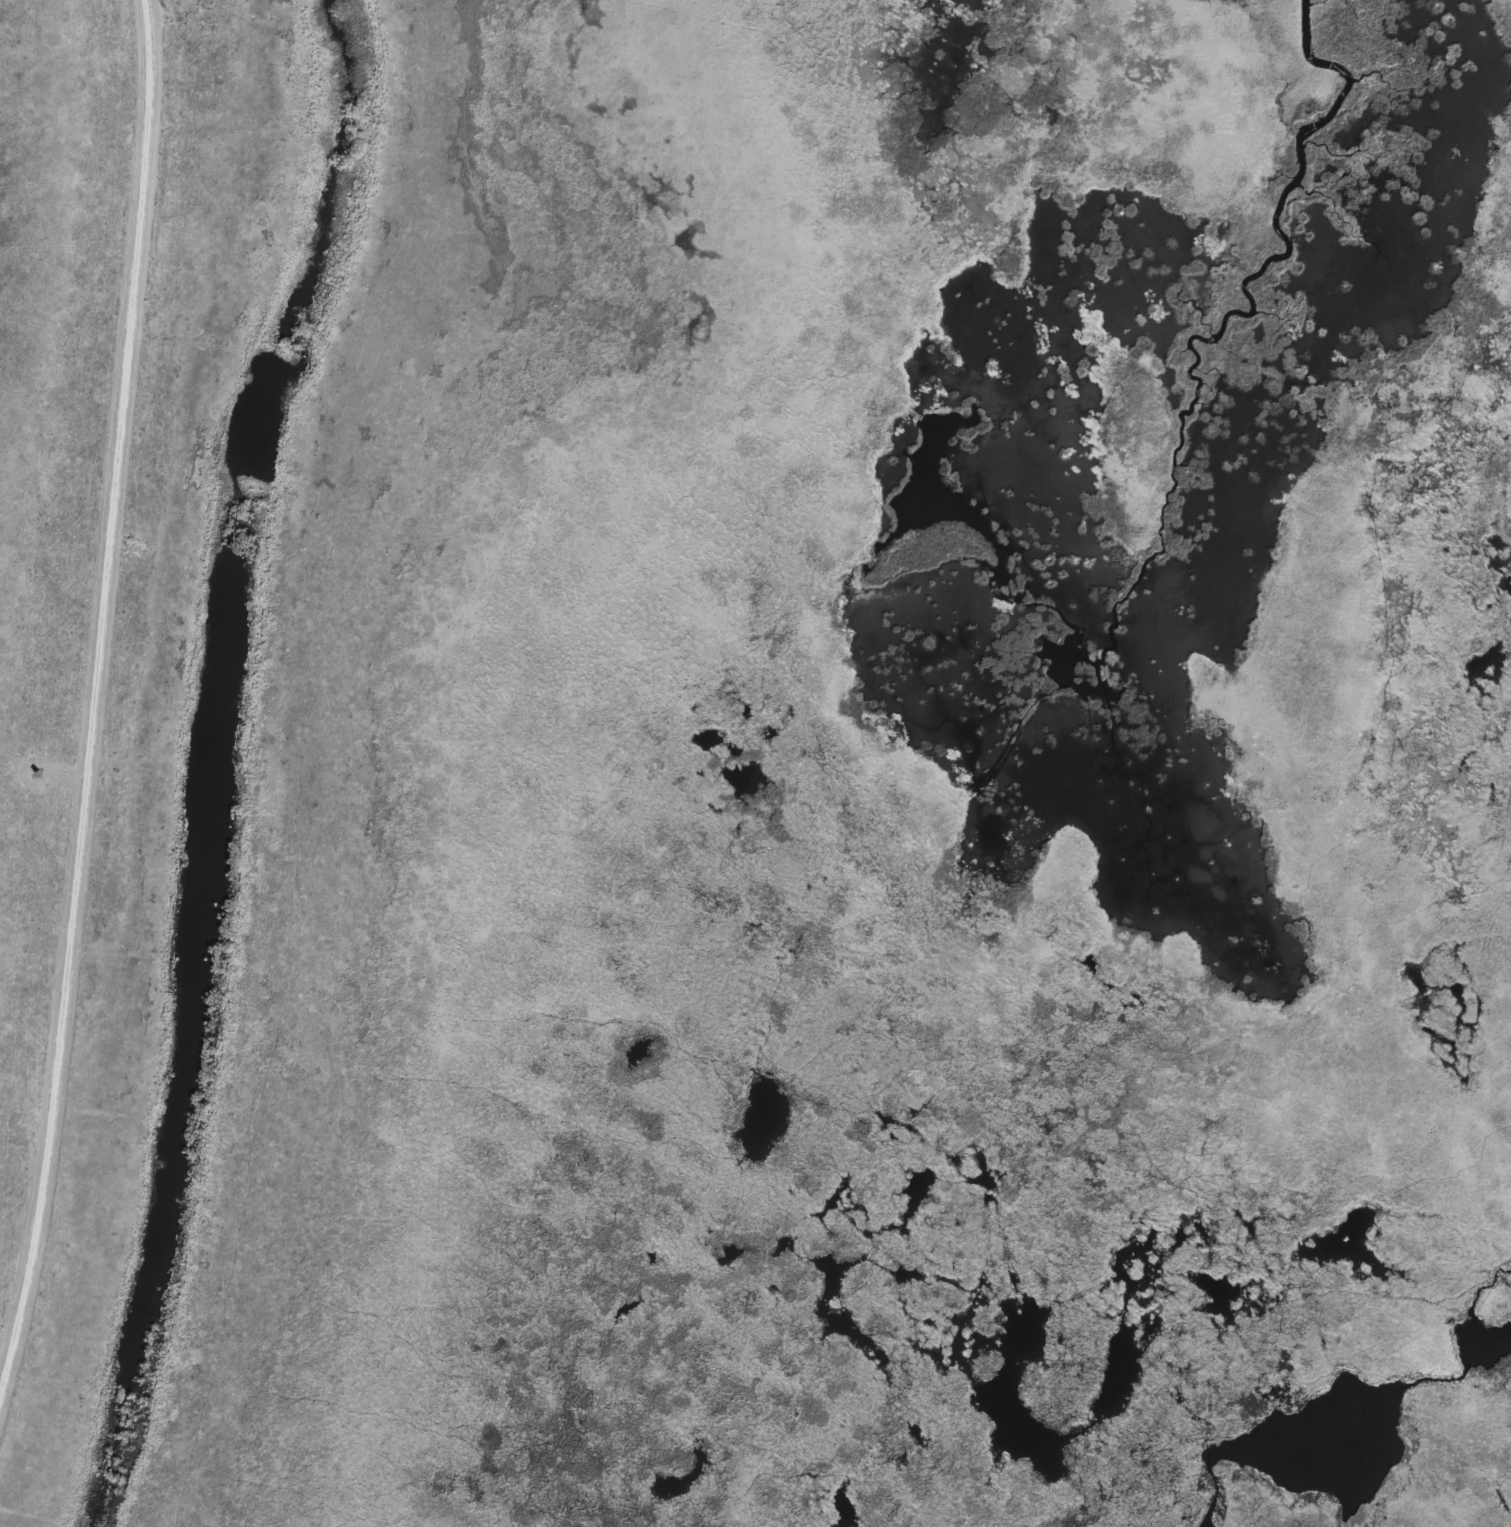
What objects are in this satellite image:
road: (97, 701)

